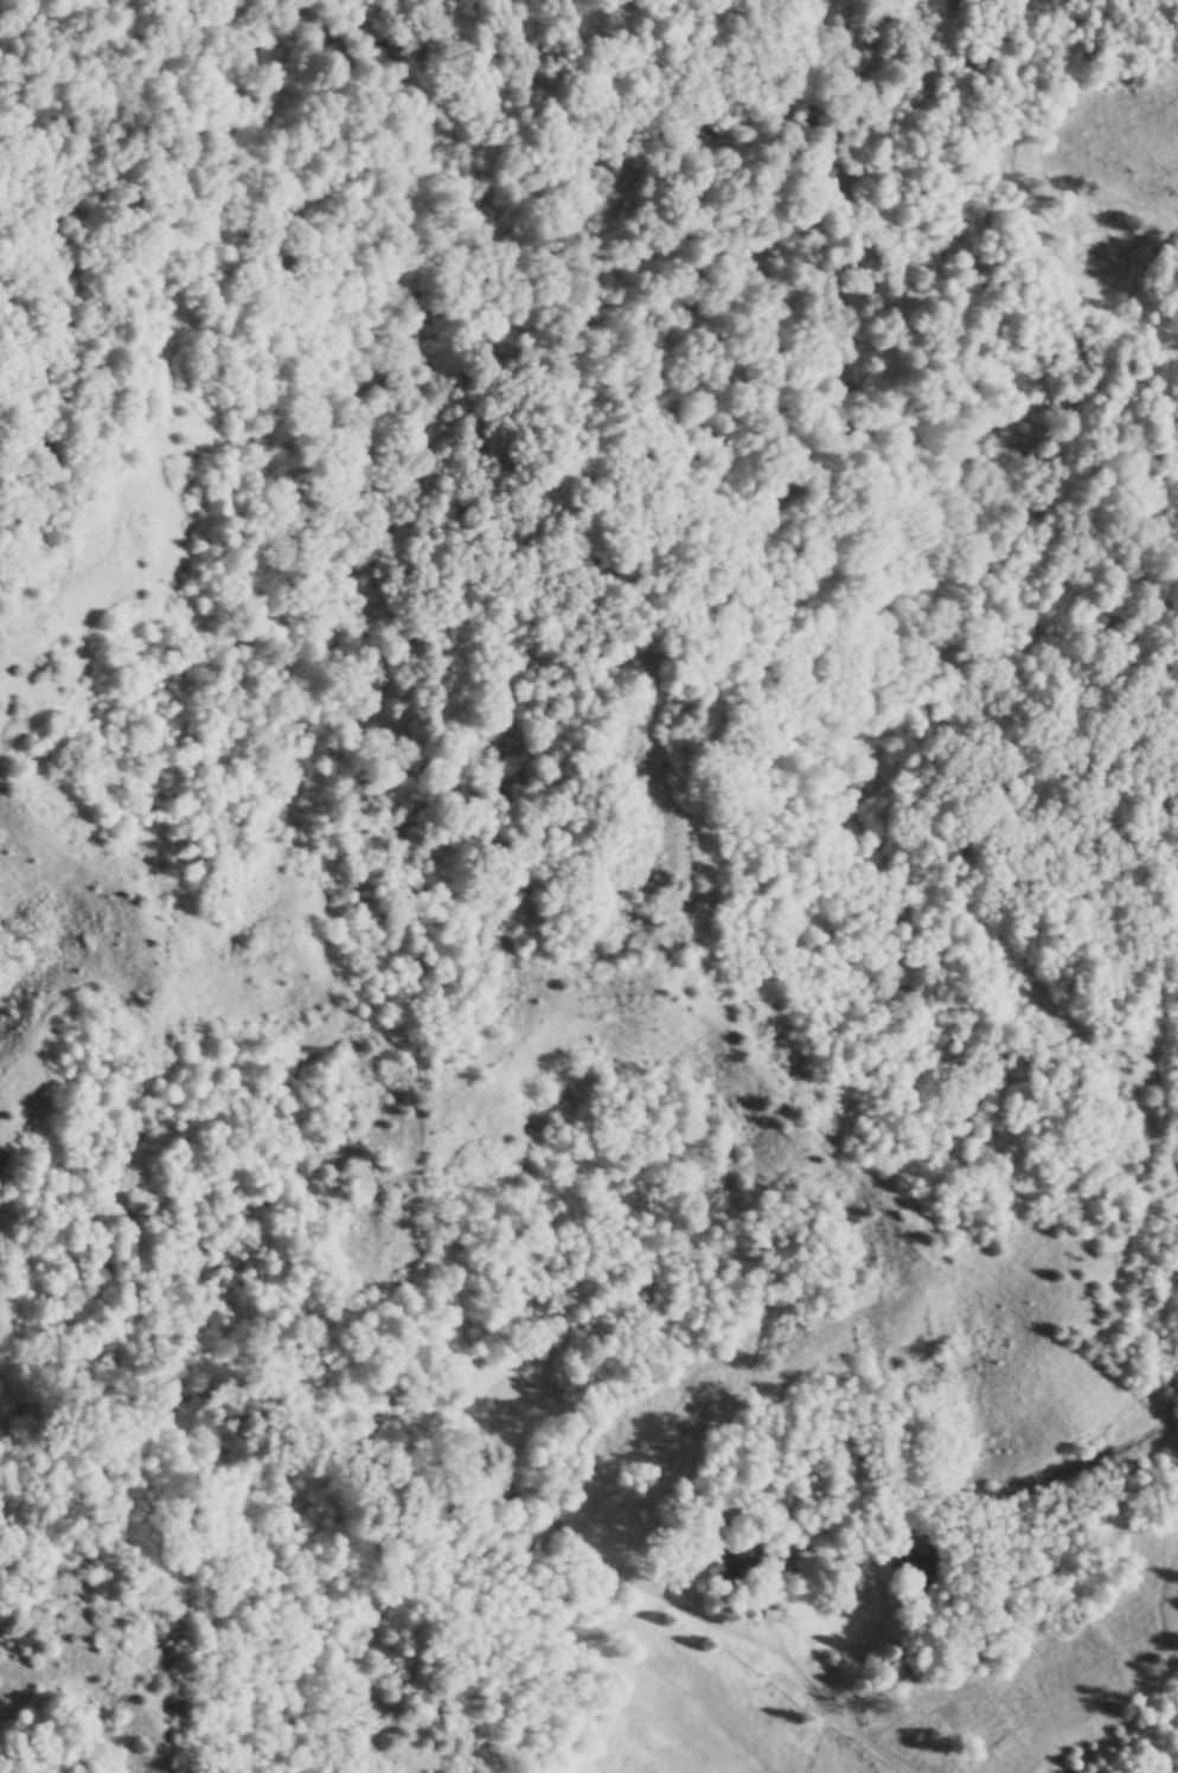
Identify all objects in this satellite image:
building: (923, 1569)

